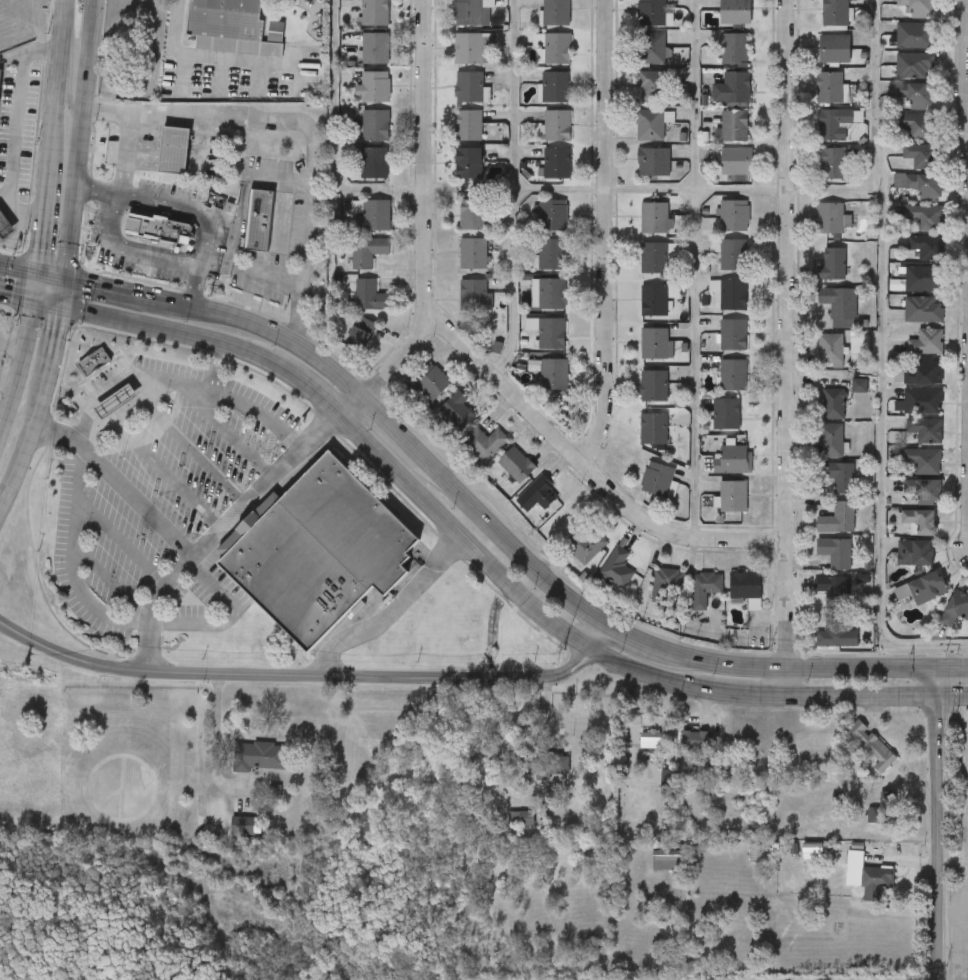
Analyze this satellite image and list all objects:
building: (355, 3)
building: (451, 3)
building: (920, 8)
building: (734, 12)
building: (374, 13)
building: (473, 13)
building: (557, 13)
building: (652, 13)
building: (835, 13)
building: (233, 27)
building: (356, 29)
road: (966, 32)
building: (914, 36)
building: (471, 48)
building: (652, 48)
building: (375, 49)
building: (557, 49)
building: (735, 49)
building: (834, 49)
road: (67, 51)
road: (206, 55)
building: (915, 66)
building: (356, 68)
building: (444, 68)
building: (0, 73)
road: (70, 73)
road: (965, 73)
building: (653, 87)
building: (376, 88)
building: (469, 88)
building: (555, 88)
building: (829, 88)
building: (732, 89)
building: (913, 95)
building: (356, 106)
building: (441, 106)
road: (967, 113)
road: (17, 115)
road: (306, 123)
building: (836, 124)
building: (650, 125)
building: (375, 126)
building: (467, 126)
building: (557, 126)
building: (916, 126)
building: (734, 127)
road: (332, 134)
building: (357, 144)
road: (55, 149)
building: (175, 151)
road: (124, 155)
building: (919, 155)
building: (735, 162)
building: (654, 163)
building: (373, 164)
building: (468, 164)
building: (557, 164)
building: (833, 164)
building: (157, 169)
building: (355, 182)
road: (654, 183)
building: (923, 186)
road: (513, 190)
road: (98, 191)
road: (5, 192)
road: (27, 212)
road: (1, 214)
building: (376, 215)
building: (473, 215)
building: (552, 215)
building: (734, 215)
building: (926, 217)
building: (654, 218)
road: (242, 219)
building: (258, 219)
building: (830, 219)
road: (424, 223)
building: (5, 227)
gas station: (5, 227)
building: (155, 227)
building: (354, 234)
road: (606, 234)
building: (242, 240)
building: (924, 247)
building: (141, 249)
building: (367, 252)
building: (473, 254)
building: (551, 255)
building: (733, 256)
building: (654, 258)
road: (70, 261)
road: (21, 265)
building: (833, 265)
road: (695, 269)
traffic signals: (43, 270)
road: (198, 270)
building: (349, 271)
road: (56, 273)
traffic signals: (69, 276)
building: (923, 279)
road: (196, 289)
road: (19, 294)
building: (547, 294)
building: (729, 294)
building: (474, 296)
building: (370, 297)
traffic signals: (39, 299)
building: (656, 300)
building: (839, 302)
traffic signals: (64, 304)
building: (923, 310)
building: (351, 315)
building: (360, 334)
building: (551, 334)
building: (733, 335)
building: (925, 342)
road: (14, 343)
building: (655, 344)
road: (787, 348)
building: (830, 349)
building: (344, 353)
road: (881, 359)
building: (93, 362)
road: (217, 367)
road: (21, 372)
building: (923, 372)
building: (551, 373)
road: (125, 374)
building: (732, 375)
road: (9, 380)
building: (430, 381)
building: (76, 382)
building: (858, 383)
building: (653, 386)
building: (921, 401)
building: (114, 403)
gas station: (114, 403)
building: (832, 404)
building: (456, 411)
road: (126, 414)
road: (258, 414)
building: (725, 414)
building: (98, 421)
building: (653, 429)
road: (228, 430)
building: (925, 430)
road: (319, 431)
road: (1, 435)
road: (63, 437)
building: (830, 440)
building: (485, 443)
road: (195, 452)
building: (731, 460)
building: (922, 460)
building: (515, 464)
road: (584, 465)
road: (168, 475)
building: (838, 476)
building: (657, 479)
building: (924, 490)
building: (538, 494)
building: (732, 496)
road: (245, 503)
building: (838, 519)
building: (919, 521)
road: (496, 531)
road: (122, 541)
building: (588, 546)
building: (319, 549)
building: (835, 553)
building: (915, 553)
road: (483, 555)
road: (73, 562)
building: (617, 568)
road: (111, 581)
building: (667, 584)
building: (704, 588)
building: (746, 588)
building: (922, 588)
building: (832, 591)
road: (225, 593)
building: (957, 608)
road: (391, 611)
building: (837, 633)
road: (597, 636)
road: (148, 649)
traffic signals: (937, 667)
road: (298, 681)
traffic signals: (938, 697)
building: (653, 741)
building: (697, 741)
road: (217, 743)
building: (873, 746)
building: (257, 754)
building: (556, 761)
building: (240, 775)
building: (521, 813)
road: (937, 823)
building: (229, 843)
building: (812, 853)
building: (668, 861)
building: (868, 876)

